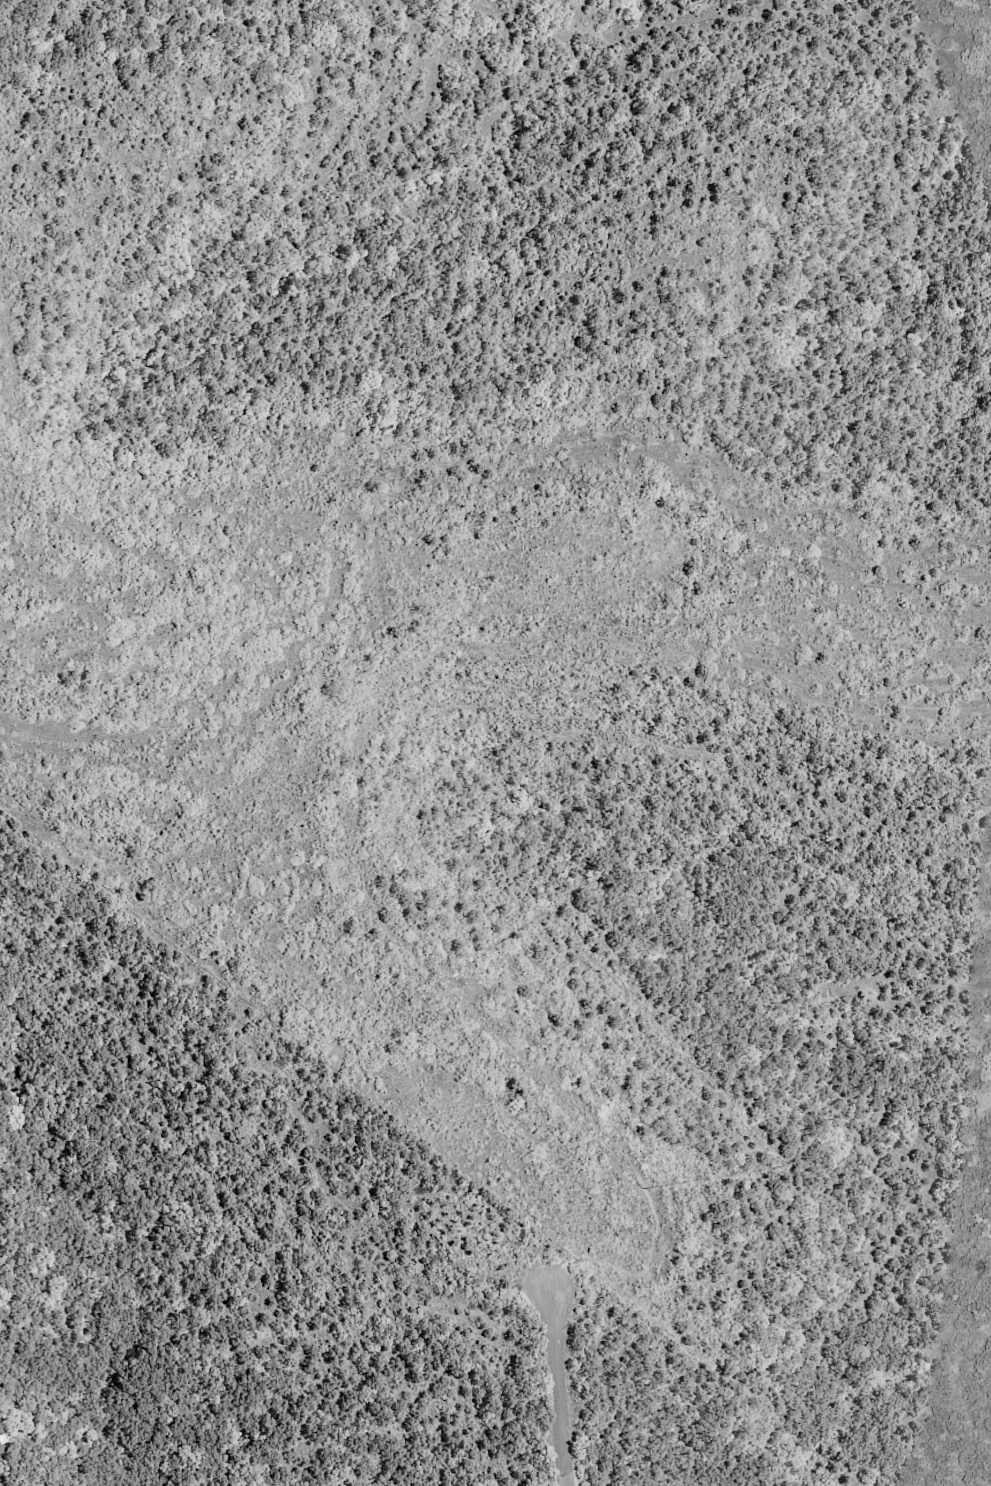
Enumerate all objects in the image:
road: (559, 1384)
building: (2, 1443)

